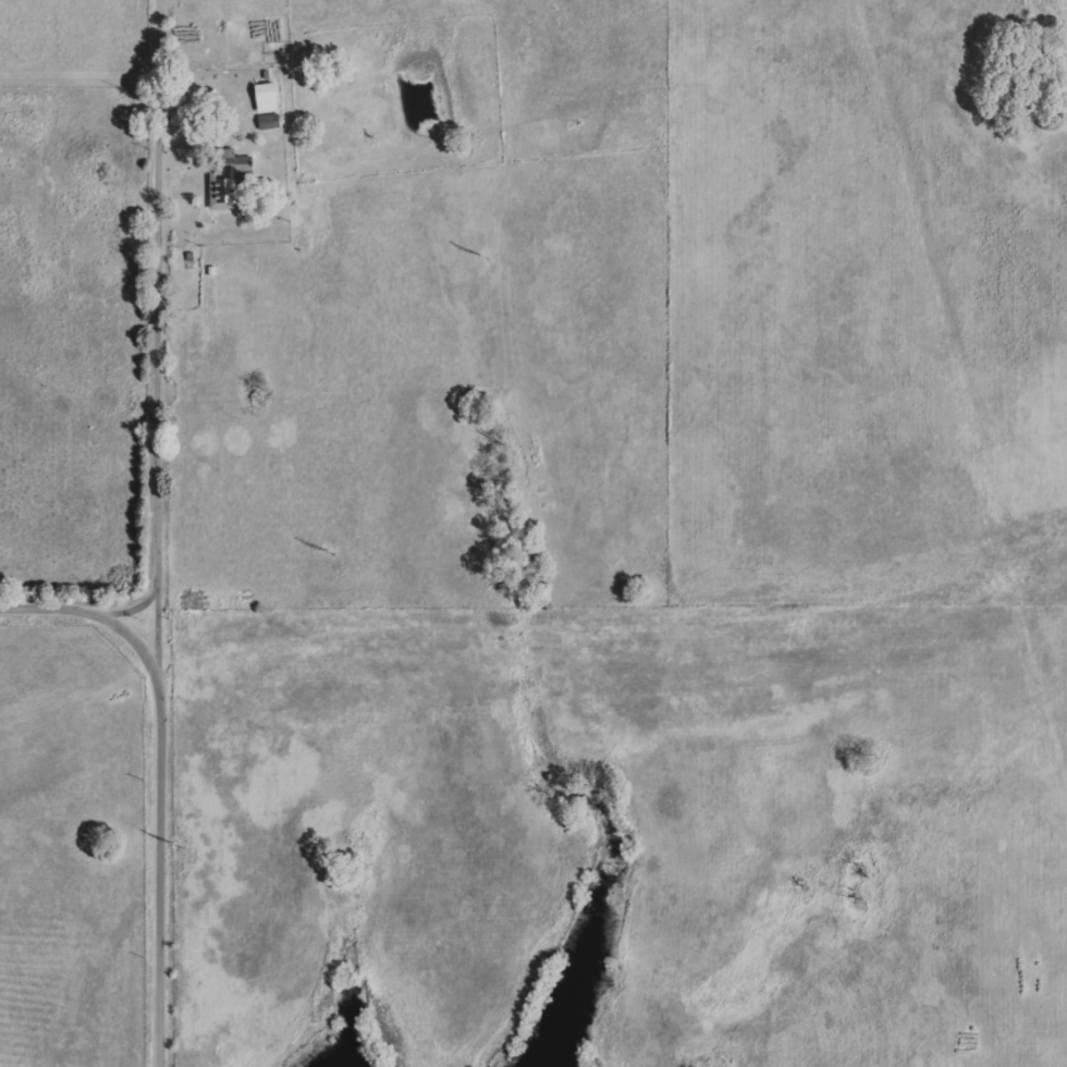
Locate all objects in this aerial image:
building: (233, 186)
power tower: (467, 256)
road: (159, 538)
power tower: (321, 551)
road: (73, 610)
power tower: (176, 843)

